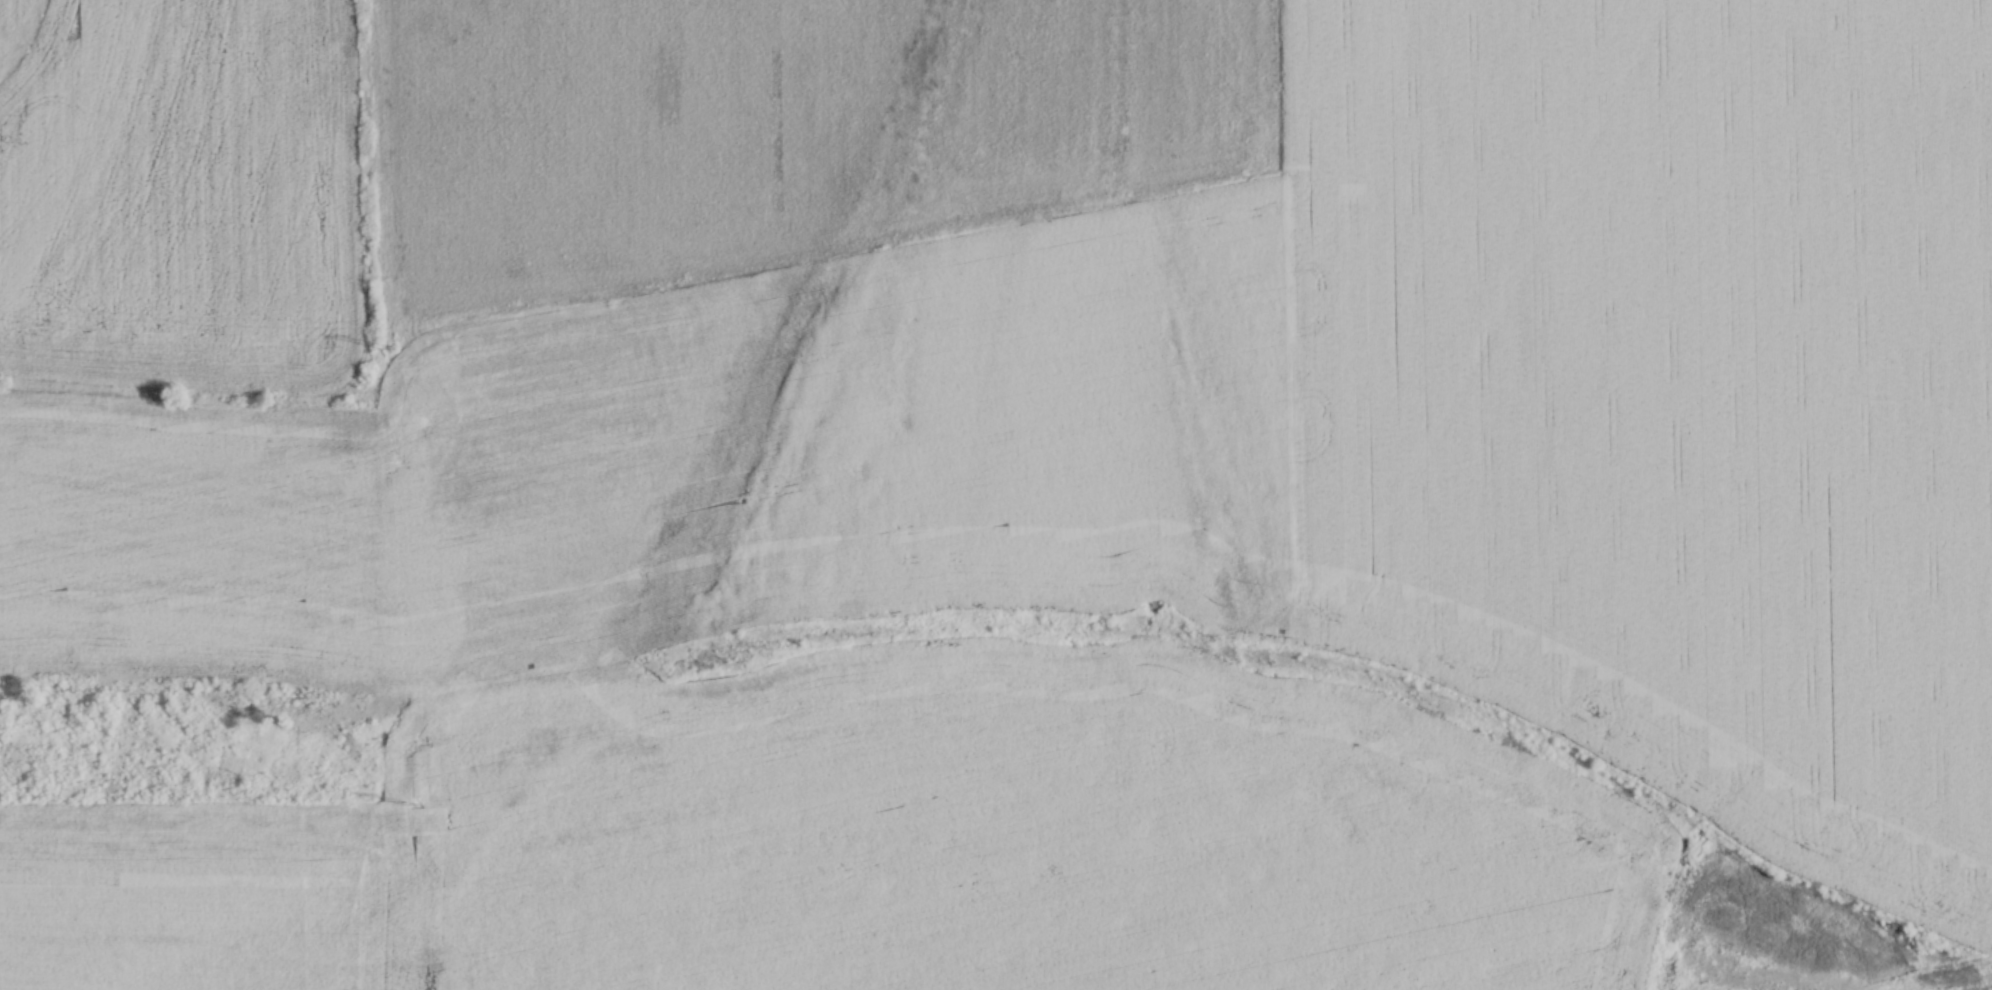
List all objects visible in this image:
power tower: (393, 361)
power tower: (416, 804)

